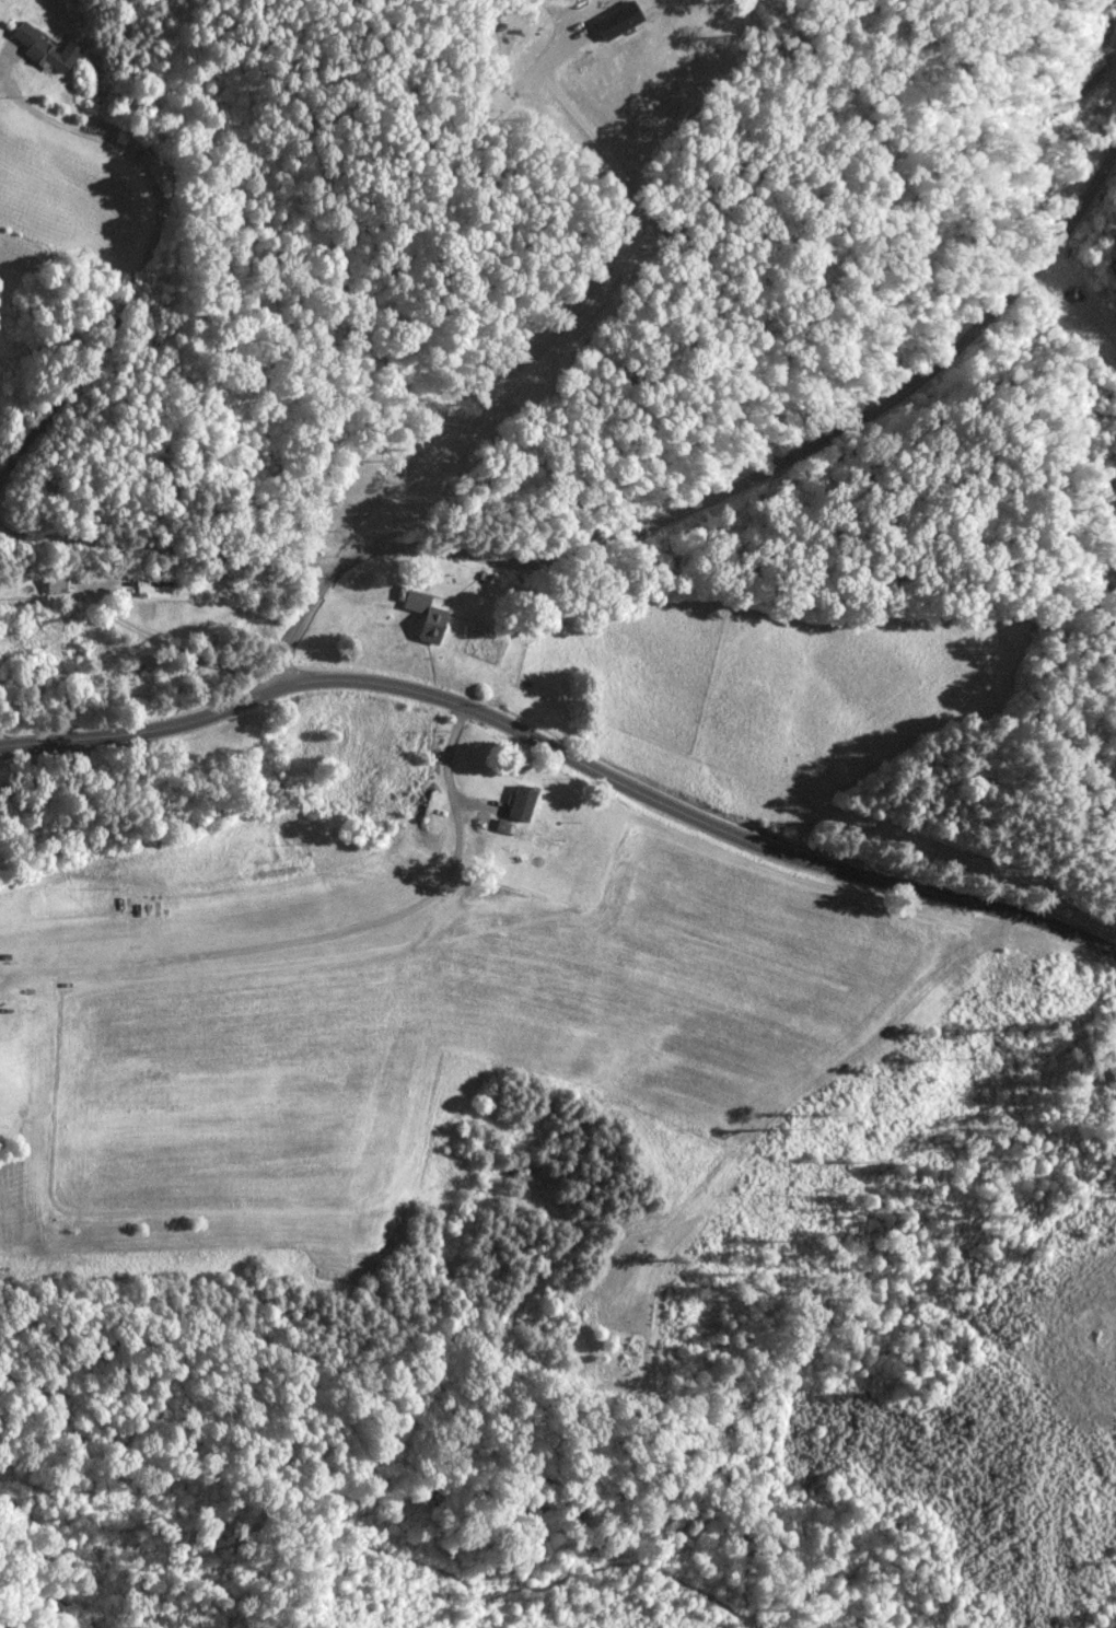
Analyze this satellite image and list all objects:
building: (49, 51)
road: (149, 248)
road: (731, 493)
road: (166, 547)
building: (59, 584)
building: (156, 588)
building: (429, 618)
road: (146, 633)
road: (565, 753)
building: (420, 803)
building: (524, 804)
road: (326, 935)
road: (8, 970)
road: (8, 978)

